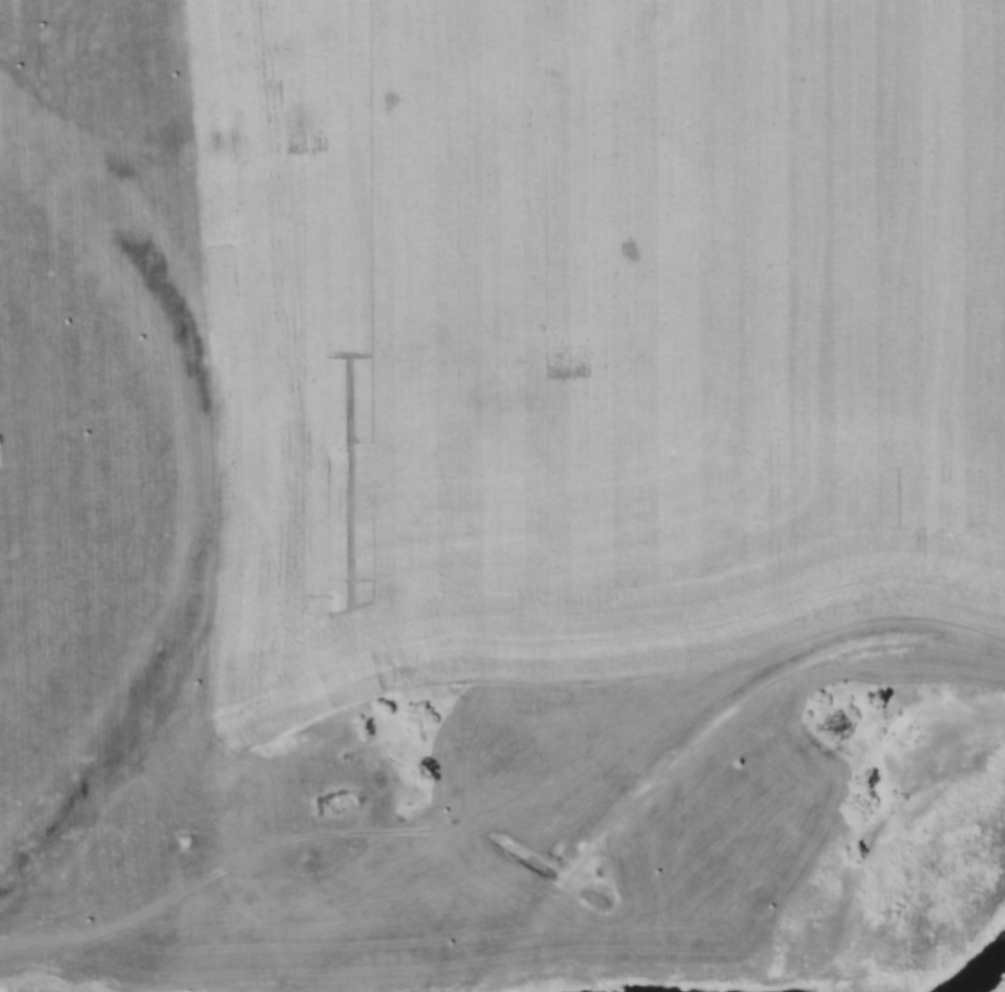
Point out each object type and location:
road: (508, 805)
river: (976, 966)
river: (619, 987)

